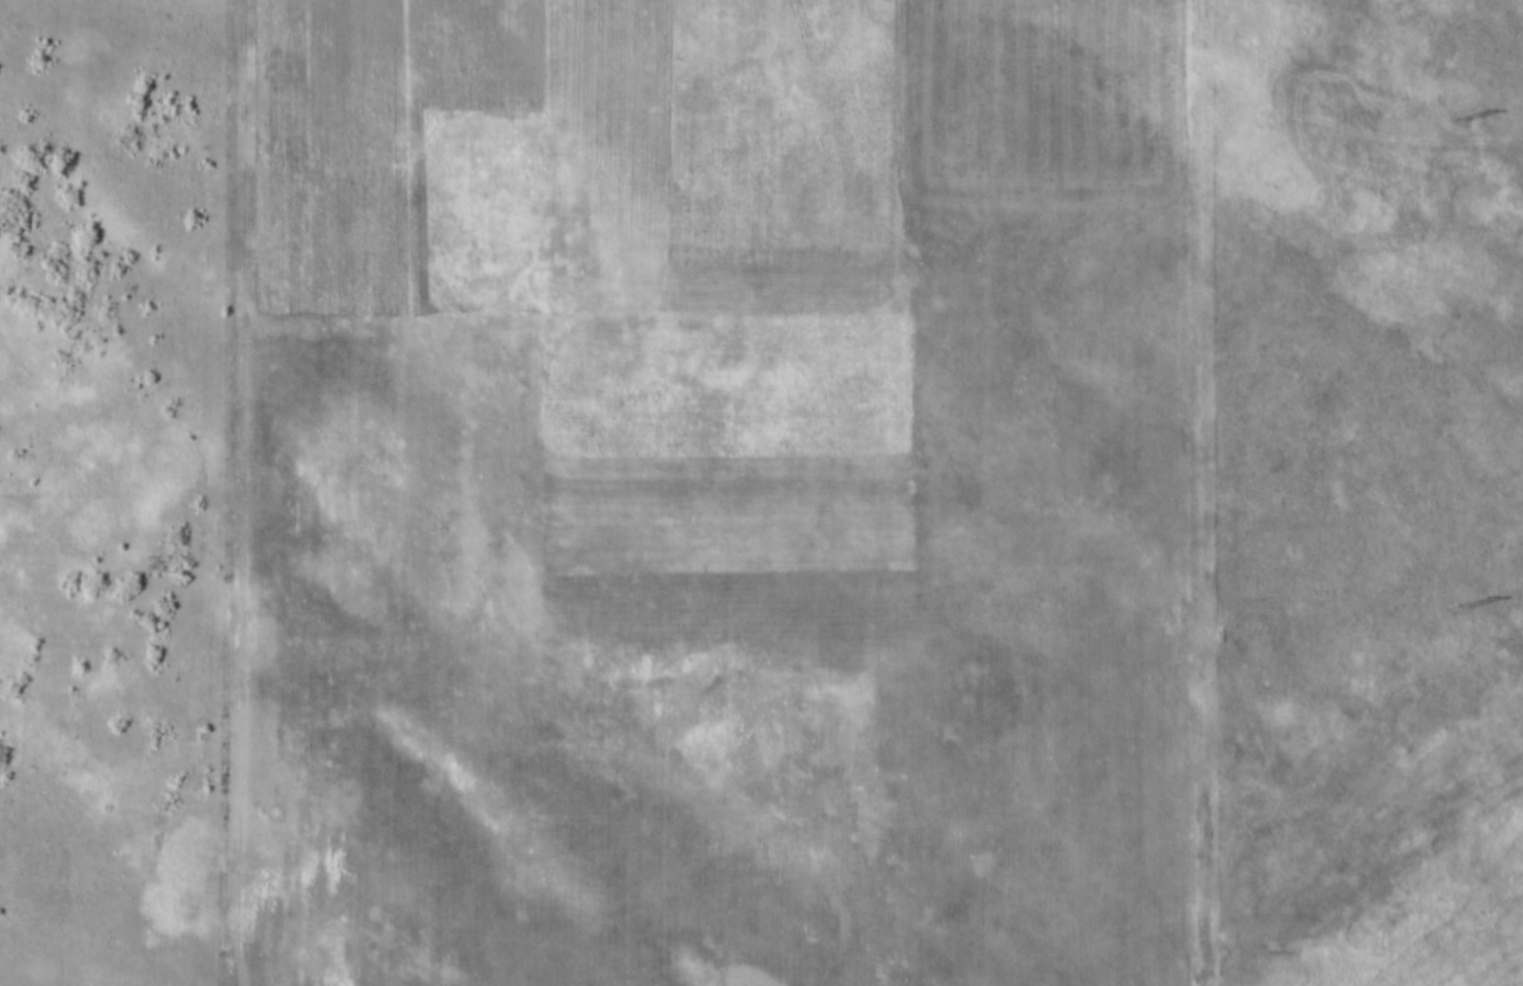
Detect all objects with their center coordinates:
power tower: (1461, 119)
power tower: (1460, 611)

